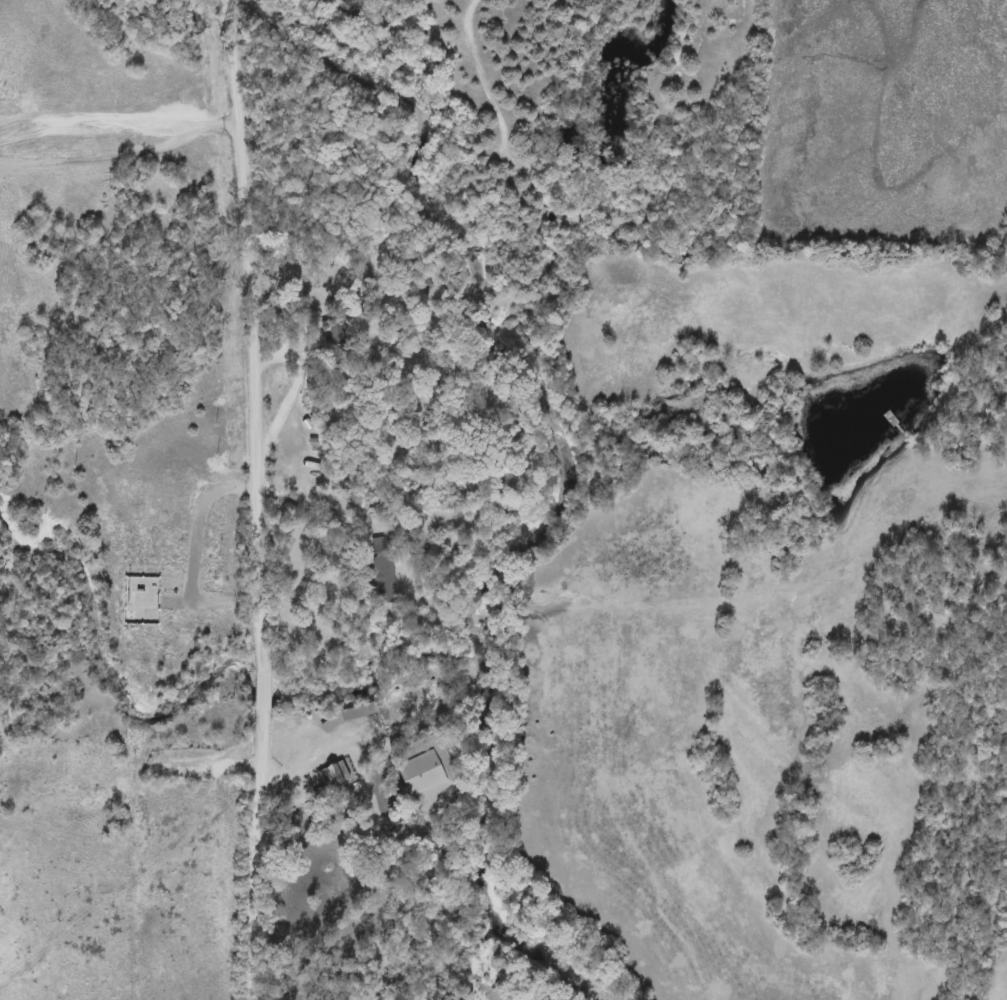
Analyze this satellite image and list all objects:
road: (250, 498)
road: (315, 508)
building: (349, 714)
road: (313, 760)
building: (341, 772)
building: (429, 779)

